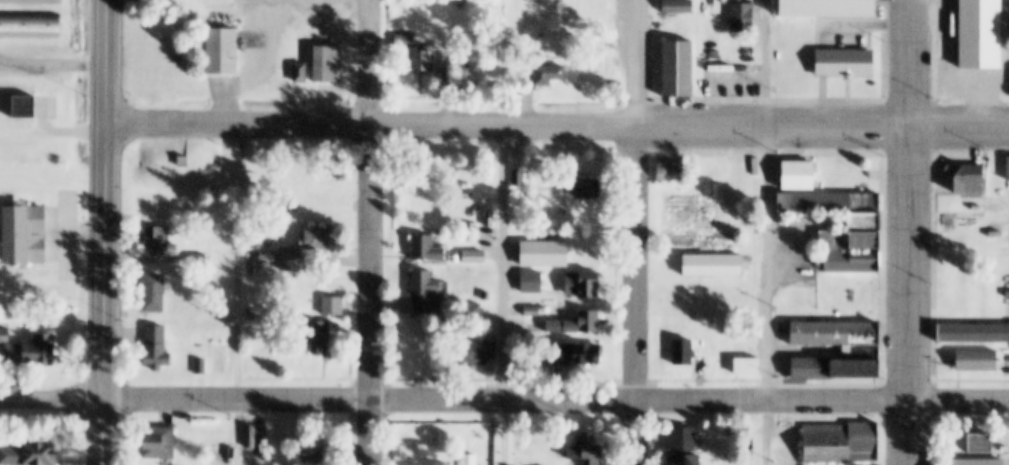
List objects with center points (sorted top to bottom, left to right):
building: (31, 1)
building: (534, 1)
building: (677, 6)
building: (831, 9)
building: (741, 17)
building: (29, 25)
building: (982, 35)
building: (404, 40)
building: (833, 51)
building: (225, 53)
building: (425, 61)
road: (631, 63)
road: (51, 64)
road: (374, 64)
building: (328, 65)
building: (679, 69)
building: (300, 73)
building: (549, 74)
building: (22, 108)
road: (555, 127)
building: (186, 162)
building: (1008, 170)
building: (669, 172)
building: (798, 176)
building: (307, 179)
building: (517, 179)
building: (744, 182)
building: (584, 189)
building: (824, 204)
building: (965, 206)
building: (681, 219)
building: (486, 223)
building: (860, 223)
road: (105, 232)
road: (770, 232)
road: (913, 232)
building: (21, 235)
building: (319, 240)
building: (155, 241)
building: (844, 242)
building: (427, 249)
building: (473, 257)
building: (197, 260)
building: (268, 260)
building: (292, 261)
building: (844, 263)
building: (713, 267)
building: (532, 283)
building: (583, 285)
building: (155, 293)
building: (427, 294)
road: (635, 295)
road: (376, 296)
building: (484, 297)
building: (4, 309)
building: (217, 311)
building: (532, 312)
building: (471, 313)
building: (584, 323)
building: (219, 327)
building: (554, 327)
building: (975, 333)
building: (830, 334)
building: (4, 336)
building: (322, 339)
building: (156, 348)
building: (31, 352)
building: (478, 353)
building: (685, 353)
building: (860, 353)
building: (591, 355)
building: (978, 361)
parking lot: (1005, 364)
building: (200, 367)
building: (250, 367)
building: (750, 368)
building: (807, 369)
building: (852, 369)
road: (504, 403)
building: (743, 432)
building: (685, 436)
building: (159, 439)
building: (843, 444)
building: (985, 445)
building: (318, 450)
building: (587, 450)
building: (30, 455)
building: (470, 459)
building: (686, 460)
building: (976, 463)

